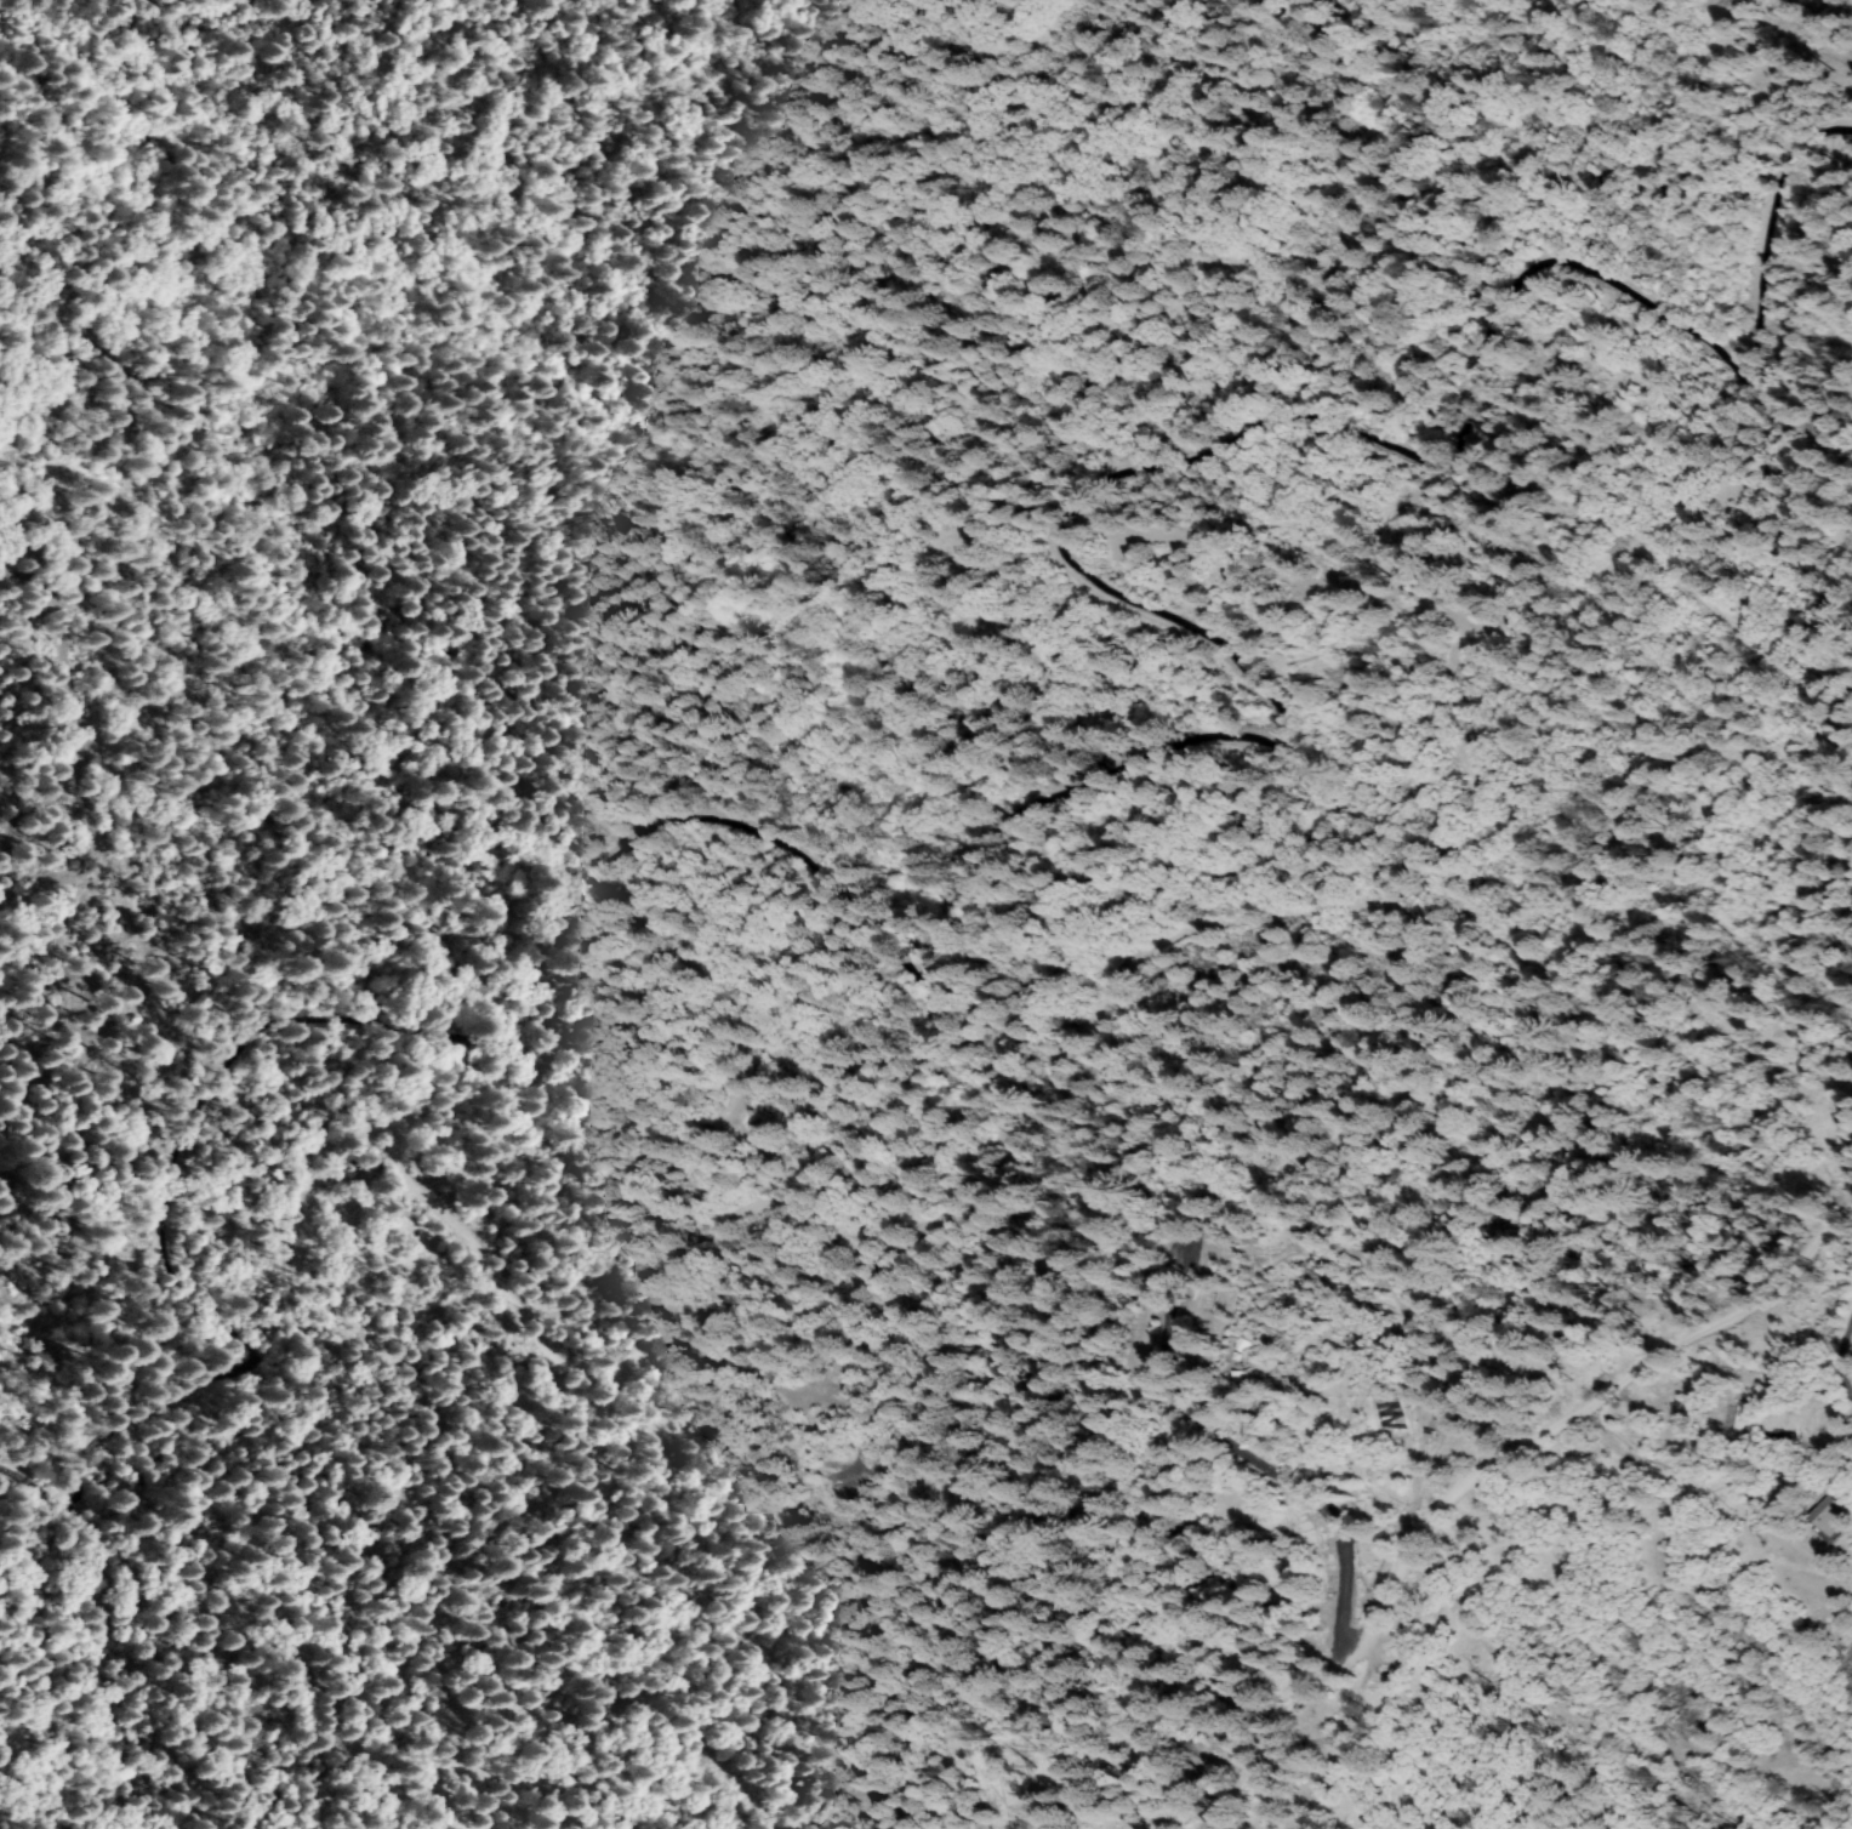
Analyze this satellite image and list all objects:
road: (1732, 1309)
building: (1742, 1417)
building: (1831, 1519)
road: (1394, 1613)

